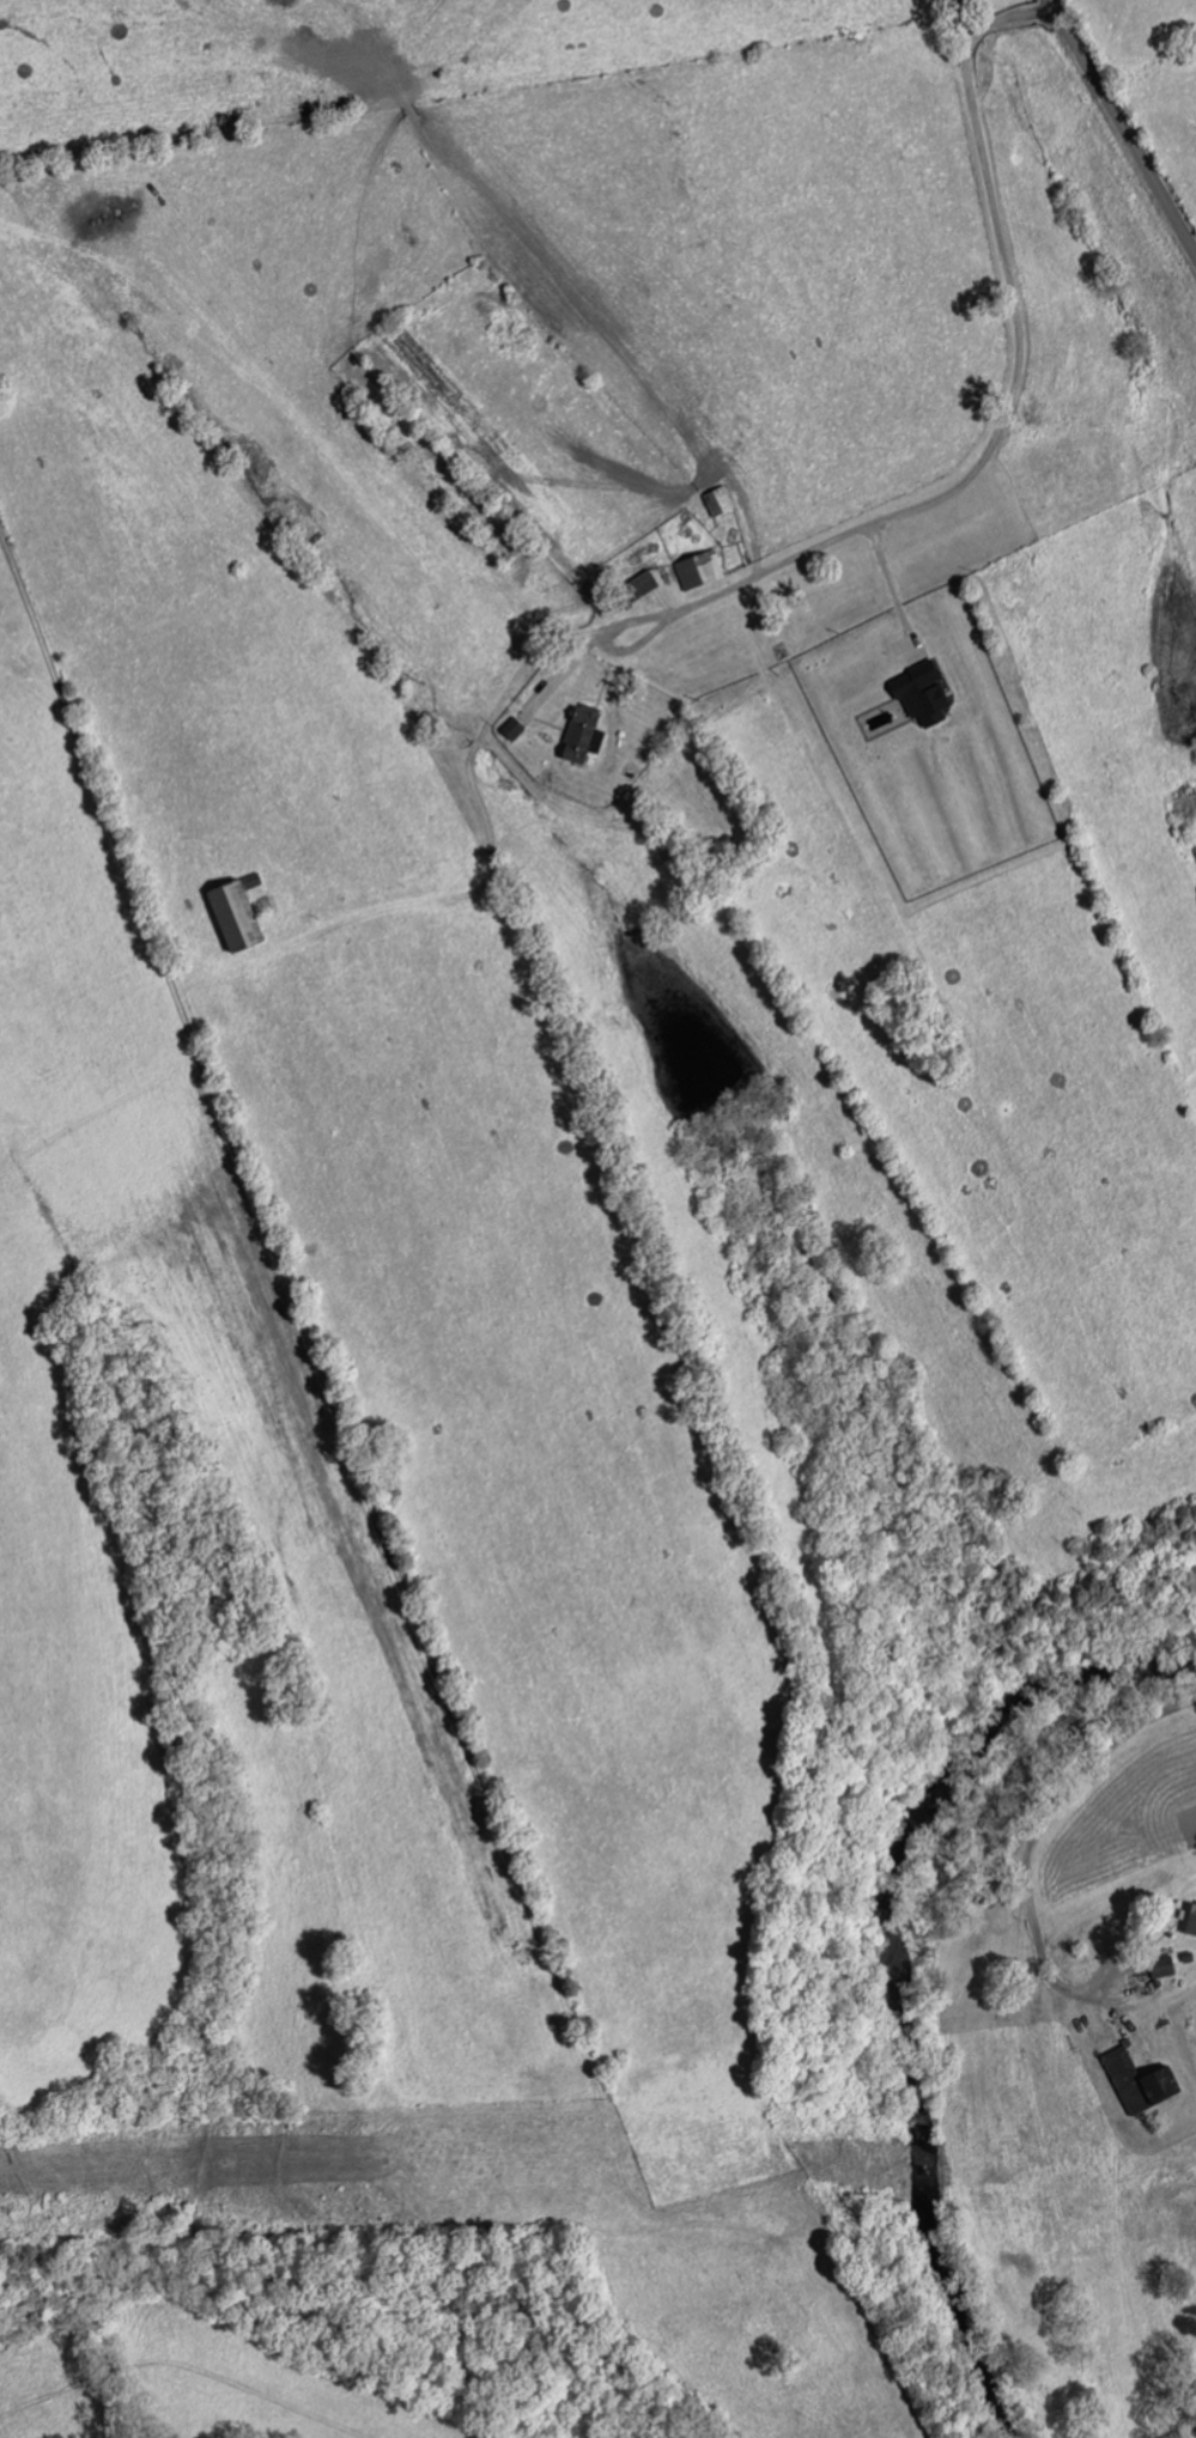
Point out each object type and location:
road: (1123, 127)
road: (984, 456)
road: (891, 589)
road: (49, 664)
building: (929, 695)
building: (590, 734)
road: (1037, 1826)
building: (1189, 1923)
building: (1160, 1968)
building: (1137, 2083)

